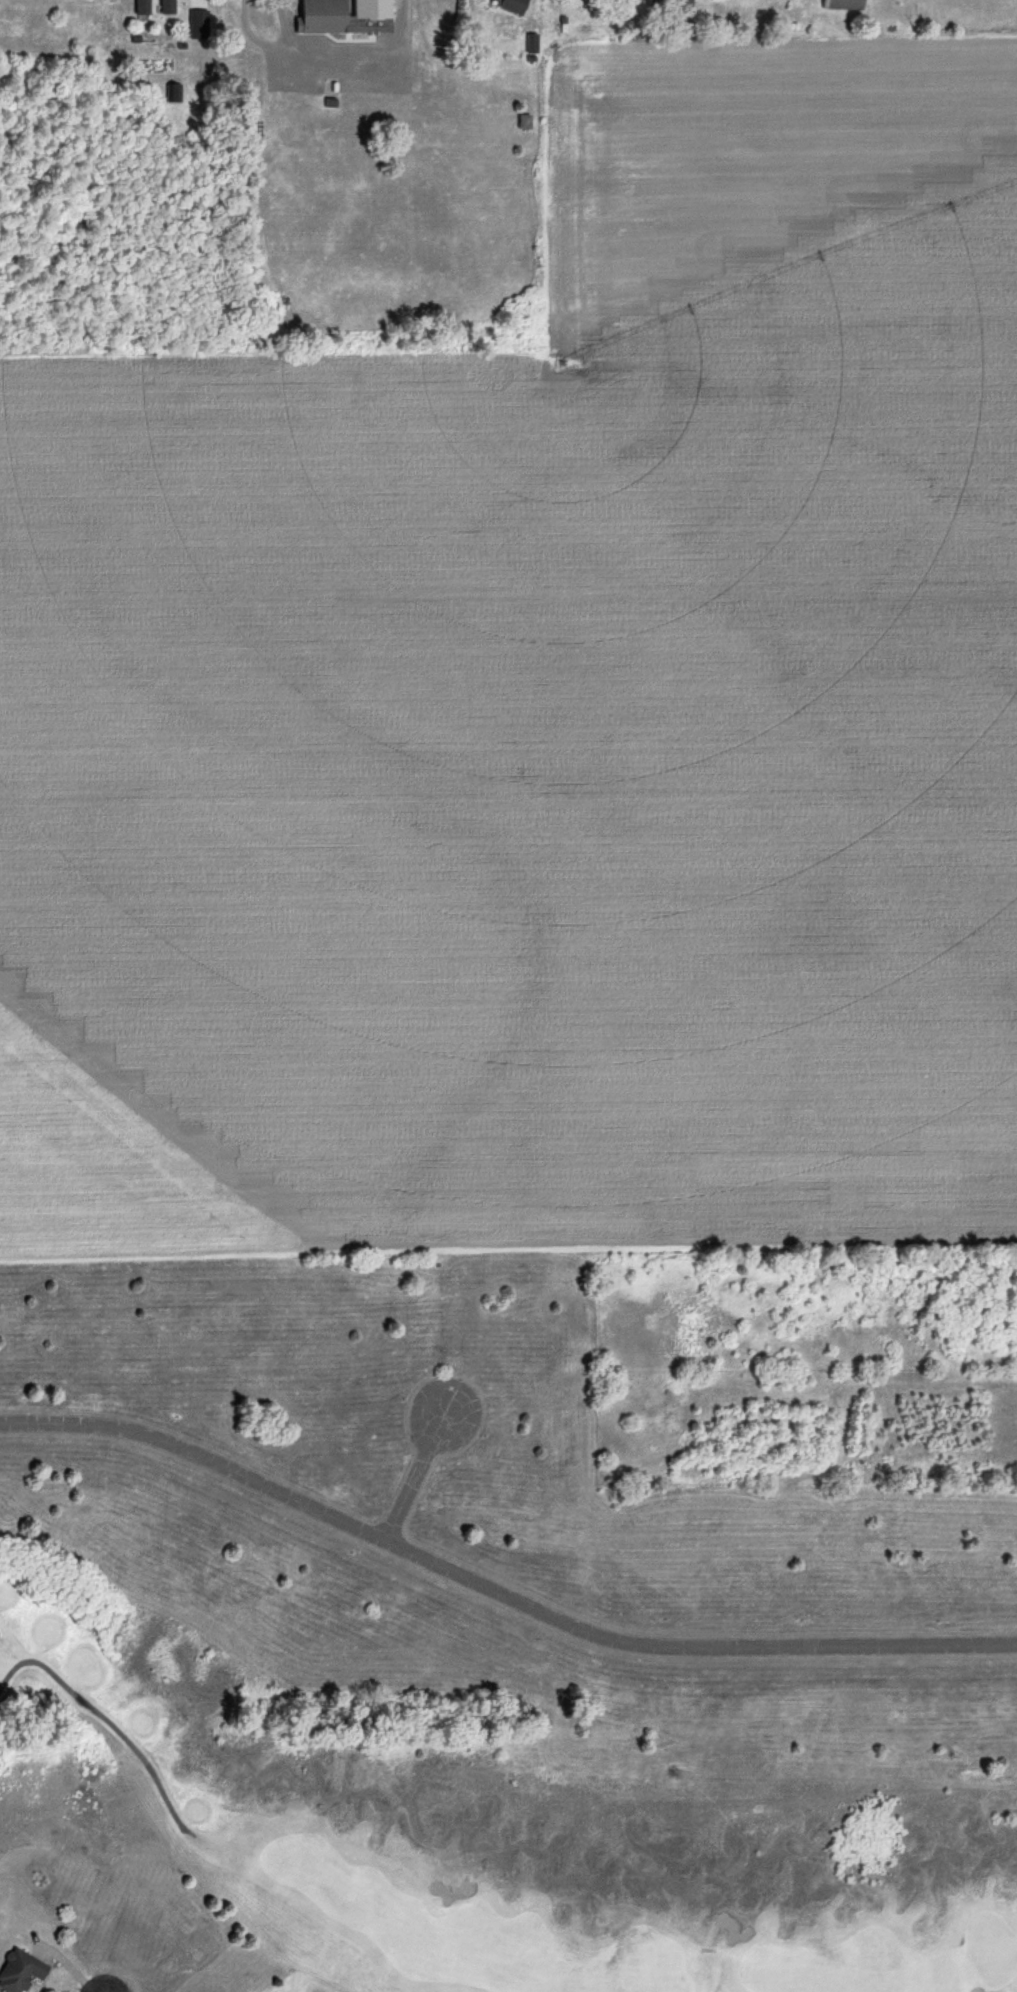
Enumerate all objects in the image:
building: (715, 0)
building: (681, 2)
building: (840, 5)
building: (510, 6)
building: (139, 8)
building: (164, 8)
building: (341, 17)
road: (267, 45)
building: (530, 45)
road: (368, 60)
crop: (546, 722)
road: (413, 1476)
road: (496, 1594)
road: (104, 1717)
park: (416, 1841)
building: (18, 1970)

